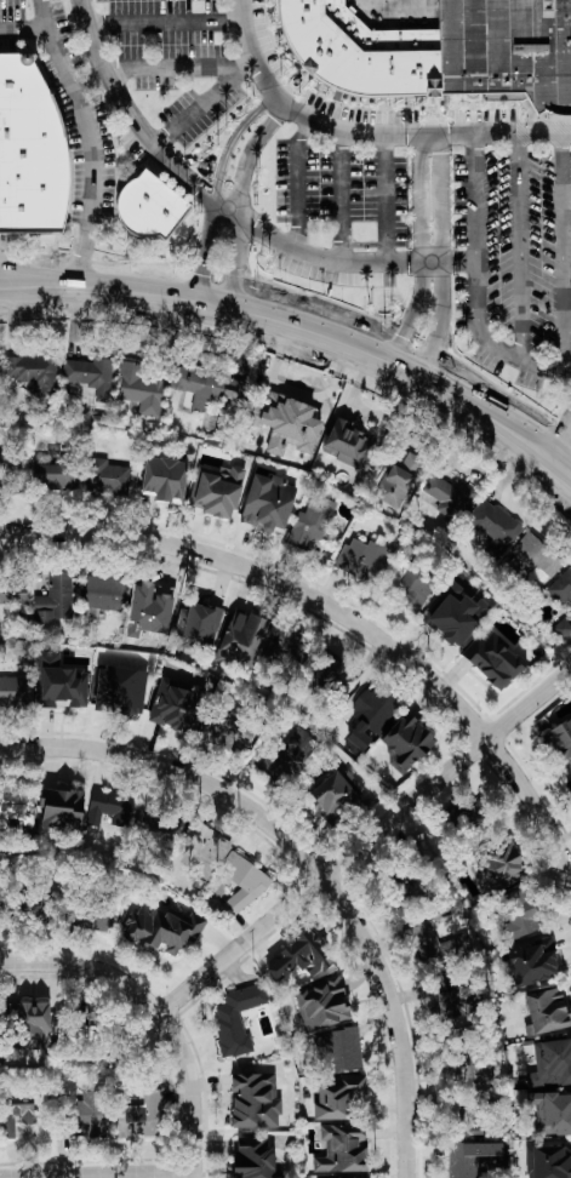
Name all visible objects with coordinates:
road: (41, 15)
road: (164, 24)
building: (507, 48)
building: (356, 52)
road: (179, 64)
road: (204, 102)
road: (80, 103)
road: (369, 132)
building: (27, 149)
road: (298, 178)
road: (215, 181)
road: (238, 190)
road: (342, 193)
road: (386, 196)
road: (227, 202)
building: (147, 205)
road: (418, 248)
road: (519, 248)
road: (80, 253)
road: (560, 253)
road: (441, 256)
road: (22, 280)
road: (472, 286)
road: (321, 333)
building: (30, 371)
building: (87, 373)
building: (207, 385)
building: (138, 388)
road: (296, 389)
building: (287, 423)
road: (558, 431)
building: (348, 444)
building: (1, 457)
building: (52, 475)
building: (105, 475)
building: (164, 478)
building: (396, 479)
building: (215, 488)
building: (447, 496)
building: (267, 502)
building: (309, 520)
building: (493, 526)
building: (533, 554)
building: (362, 555)
road: (268, 576)
building: (415, 585)
building: (561, 587)
building: (102, 591)
building: (53, 596)
building: (13, 597)
building: (156, 597)
building: (453, 613)
building: (194, 624)
building: (560, 627)
building: (241, 639)
building: (281, 645)
building: (491, 659)
building: (58, 682)
building: (15, 690)
building: (173, 704)
building: (369, 716)
building: (559, 738)
building: (405, 742)
building: (287, 754)
road: (179, 768)
building: (333, 797)
road: (532, 801)
building: (16, 805)
building: (108, 807)
building: (59, 808)
building: (148, 823)
road: (365, 840)
building: (202, 846)
building: (496, 867)
building: (240, 882)
building: (59, 910)
building: (518, 913)
building: (160, 926)
building: (435, 947)
building: (293, 957)
building: (529, 962)
road: (86, 967)
building: (447, 1002)
building: (320, 1003)
building: (546, 1010)
building: (234, 1017)
road: (395, 1017)
building: (27, 1024)
building: (78, 1033)
building: (337, 1048)
building: (550, 1063)
road: (193, 1092)
building: (336, 1094)
building: (252, 1099)
building: (18, 1110)
building: (549, 1113)
building: (139, 1114)
building: (76, 1116)
building: (341, 1149)
building: (252, 1160)
building: (463, 1160)
building: (549, 1160)
road: (97, 1174)
building: (348, 1177)

